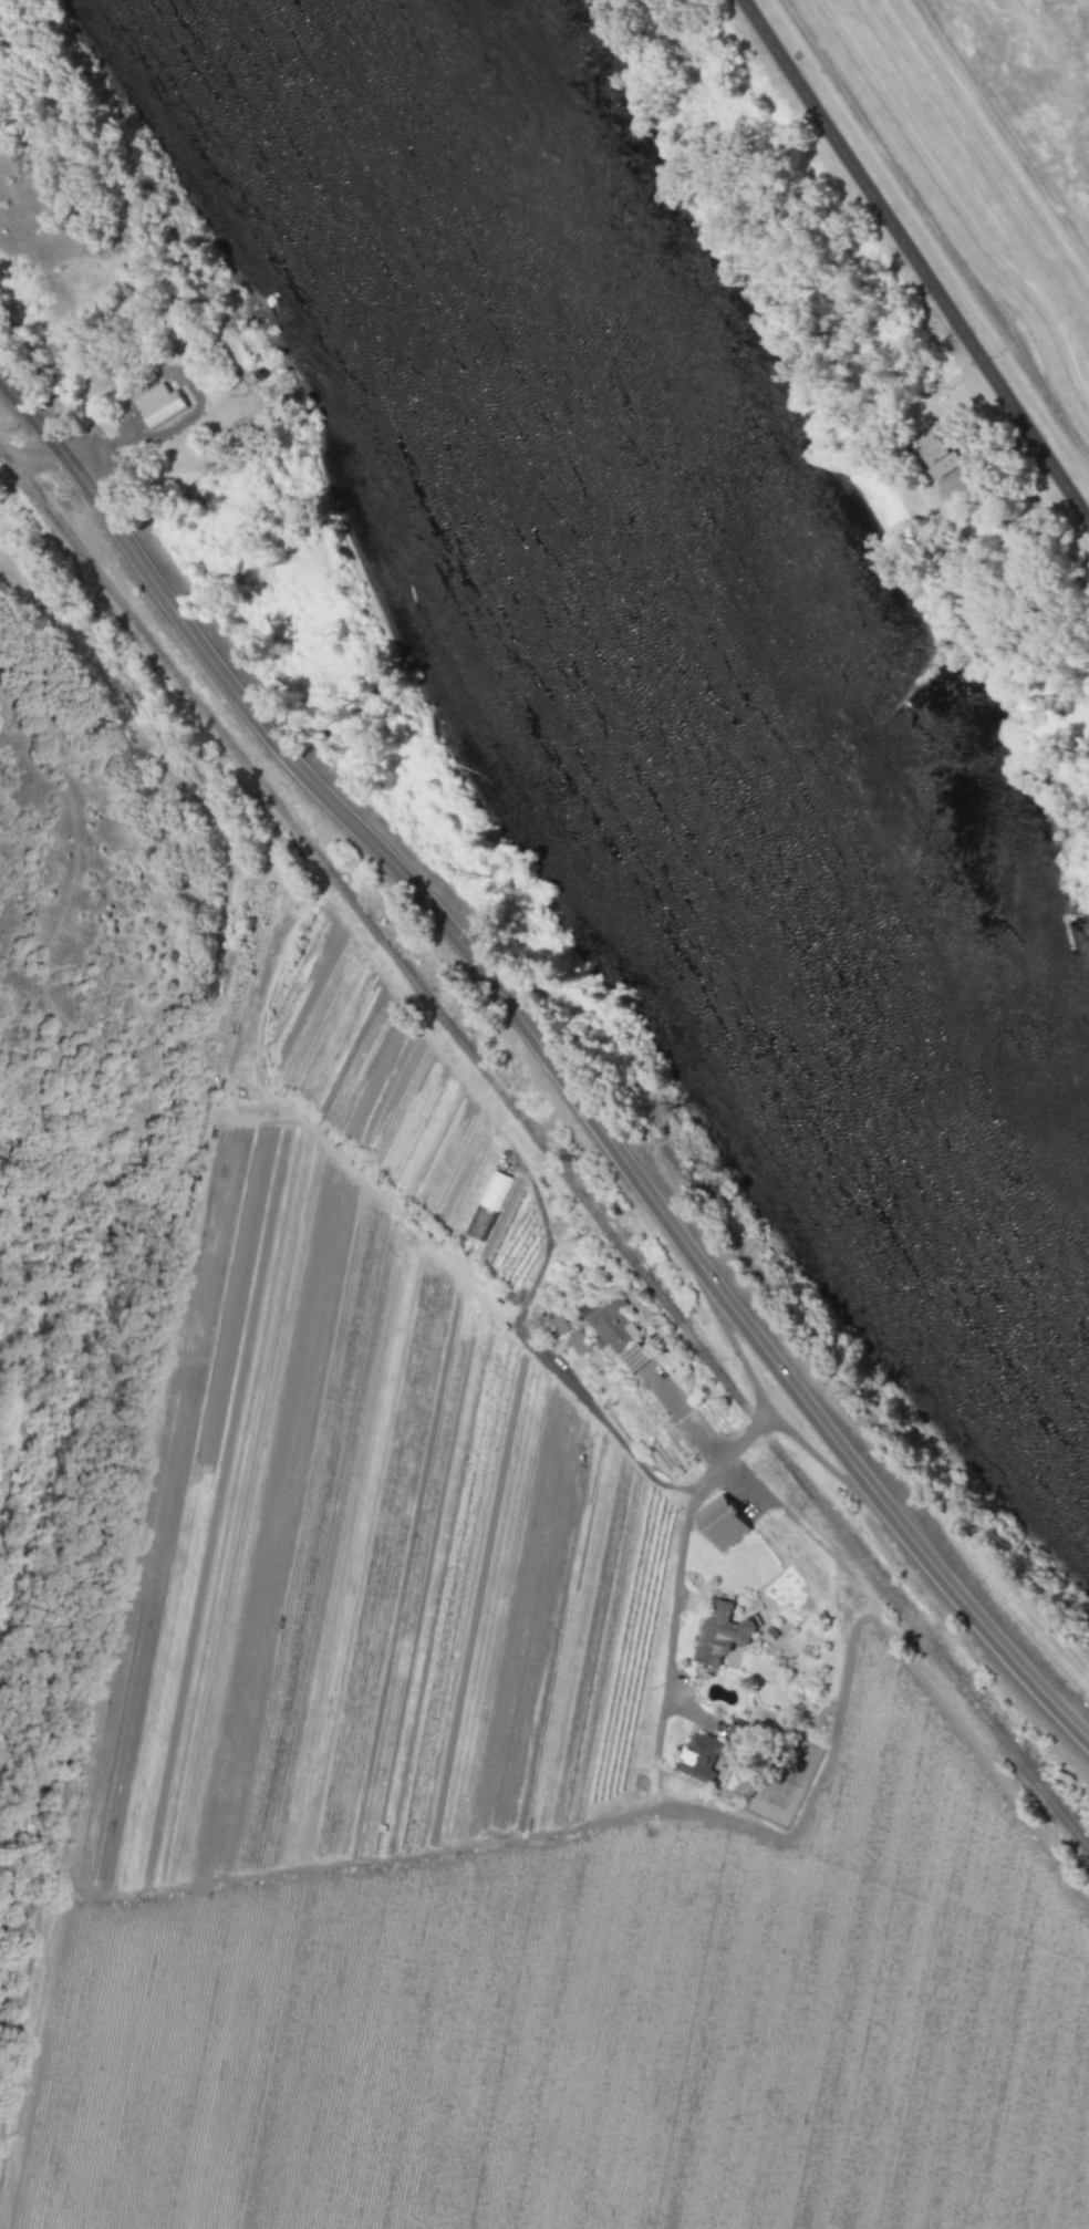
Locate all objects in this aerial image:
road: (917, 259)
building: (158, 404)
building: (936, 450)
road: (31, 464)
river: (722, 664)
road: (547, 1060)
railway: (544, 1149)
building: (487, 1204)
building: (558, 1325)
road: (153, 1336)
building: (578, 1342)
building: (633, 1356)
road: (570, 1385)
road: (758, 1427)
building: (722, 1521)
road: (675, 1598)
building: (720, 1632)
crop: (495, 1651)
building: (701, 1755)

